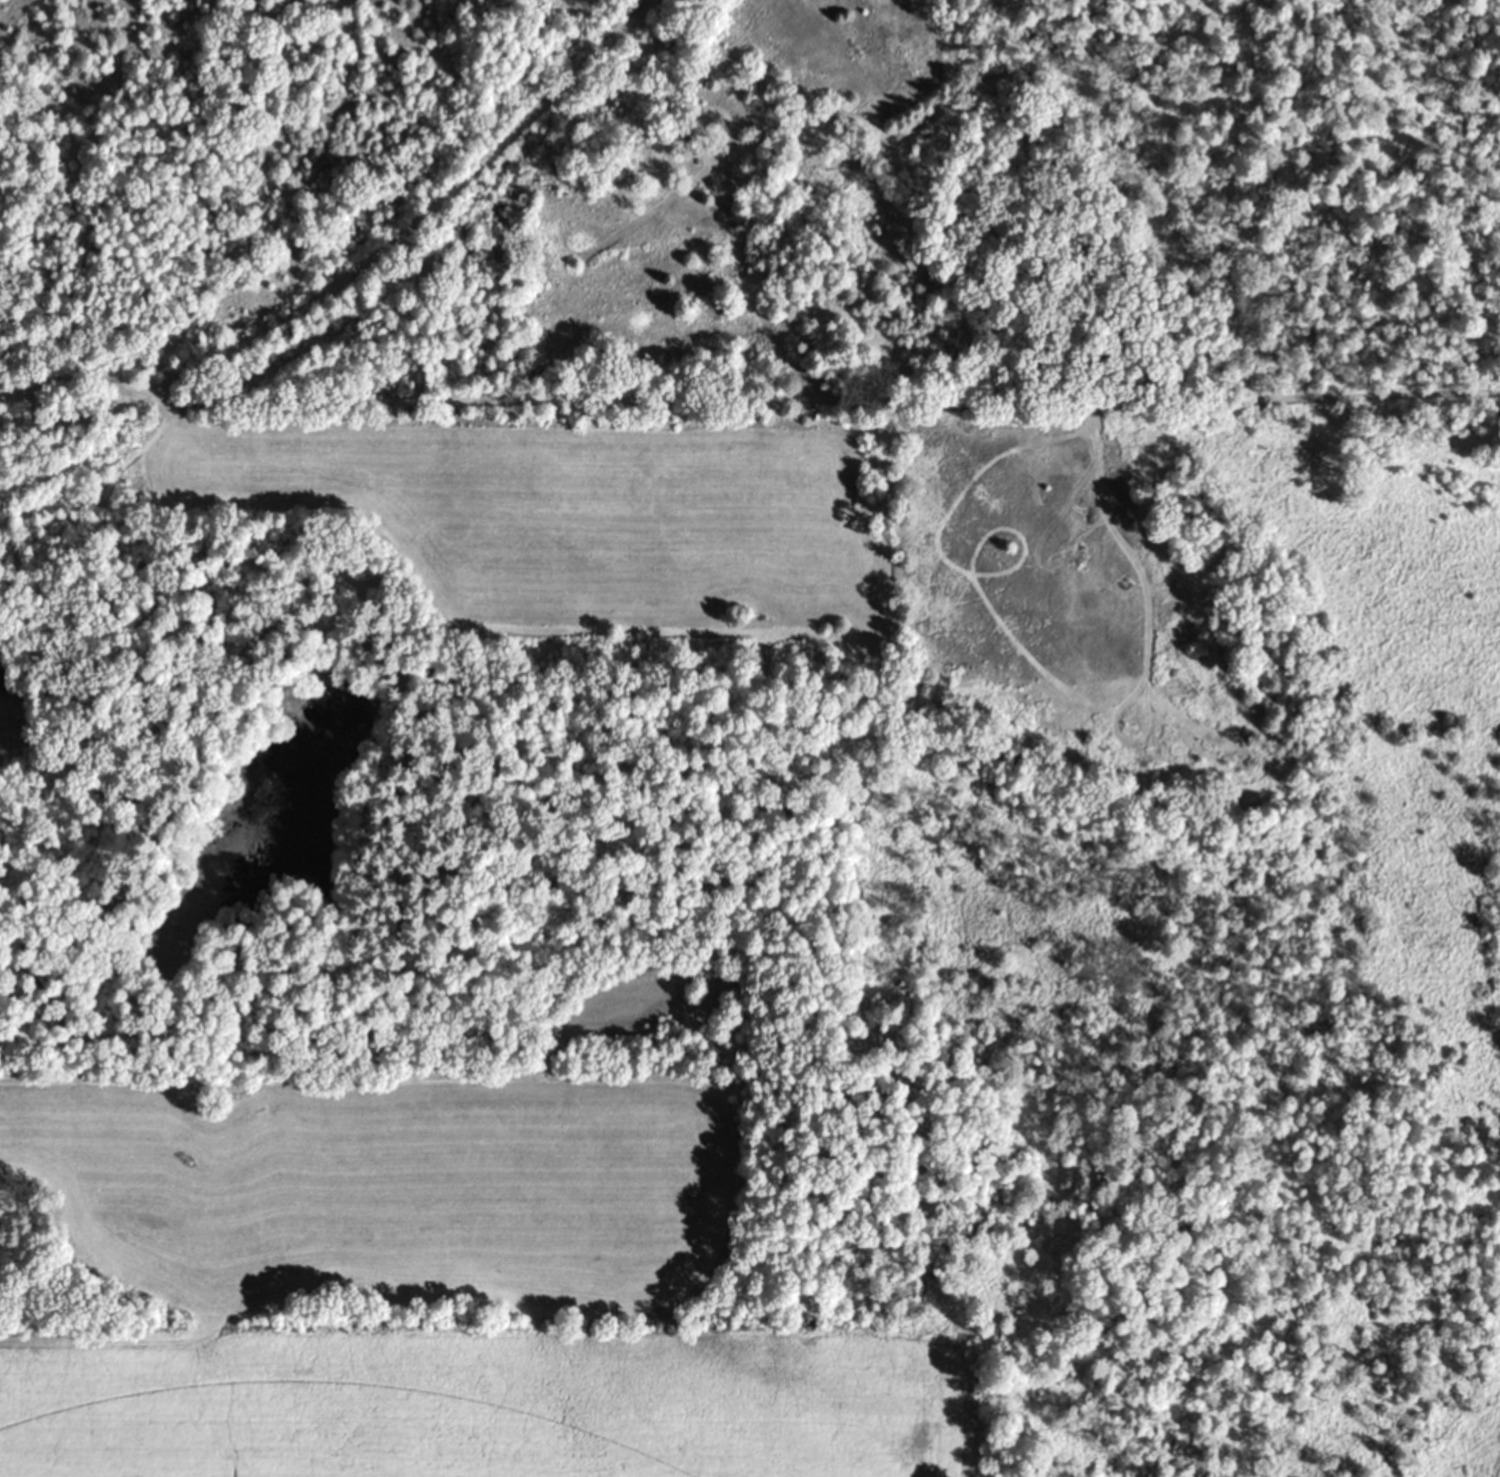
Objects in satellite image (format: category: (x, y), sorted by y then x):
building: (682, 142)
road: (352, 269)
road: (747, 402)

